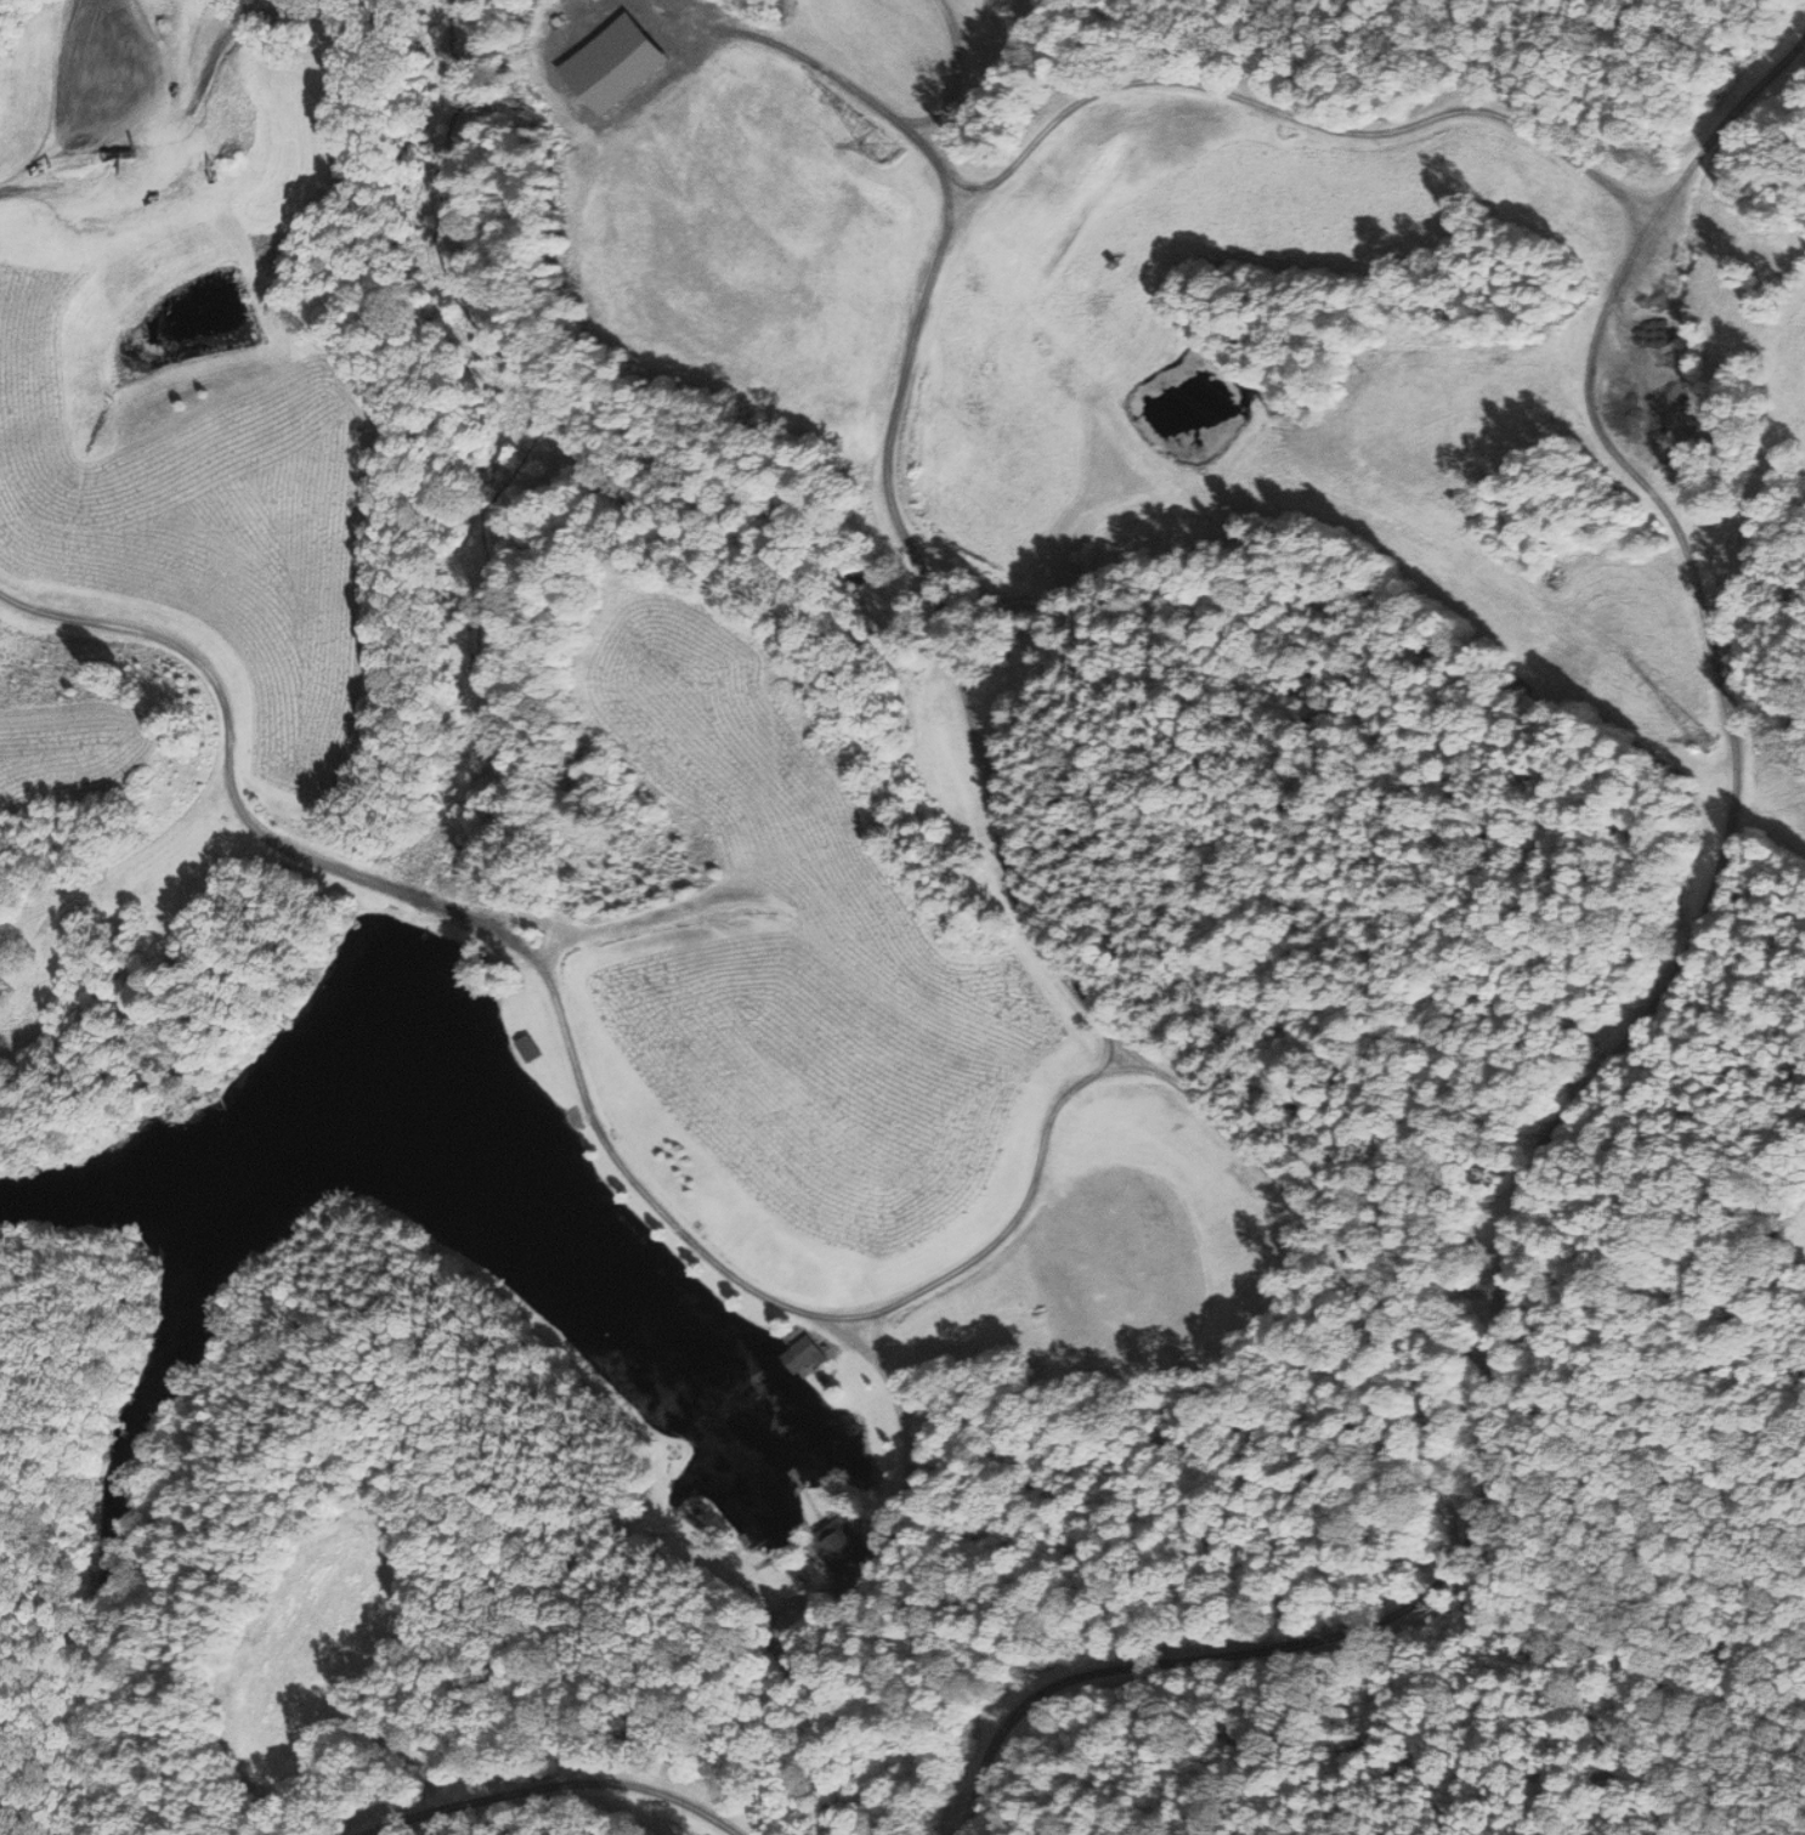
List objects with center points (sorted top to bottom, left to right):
road: (949, 70)
road: (1289, 118)
road: (1724, 128)
road: (172, 142)
power tower: (881, 143)
power tower: (1716, 743)
building: (528, 1048)
road: (1529, 1140)
road: (1017, 1213)
building: (804, 1354)
building: (838, 1544)
road: (562, 1784)

